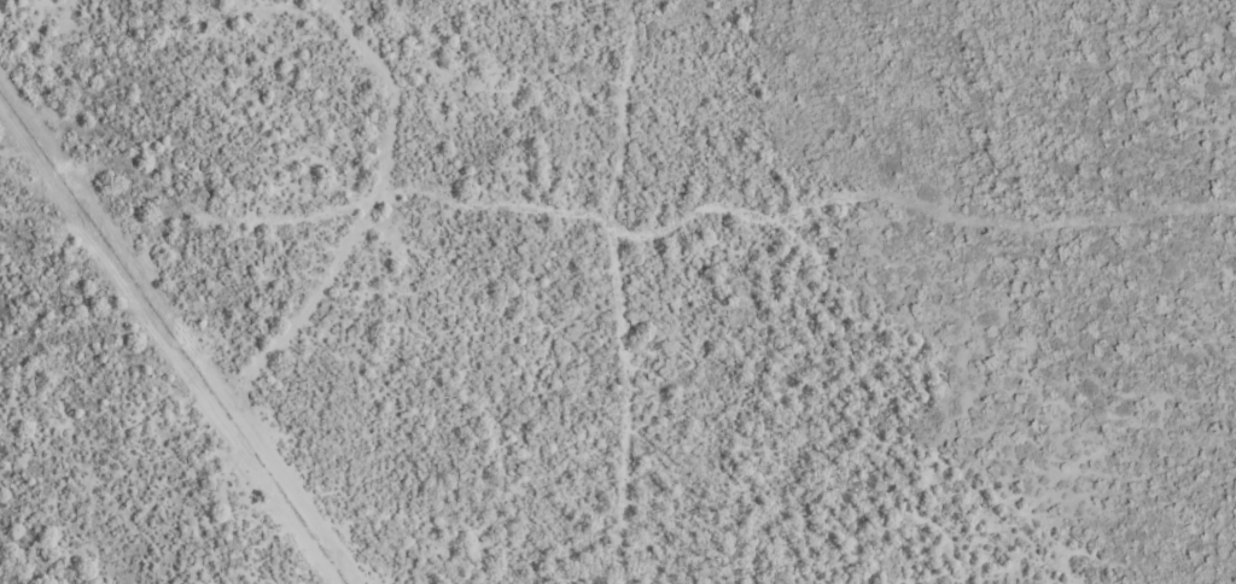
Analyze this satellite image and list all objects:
road: (116, 411)

